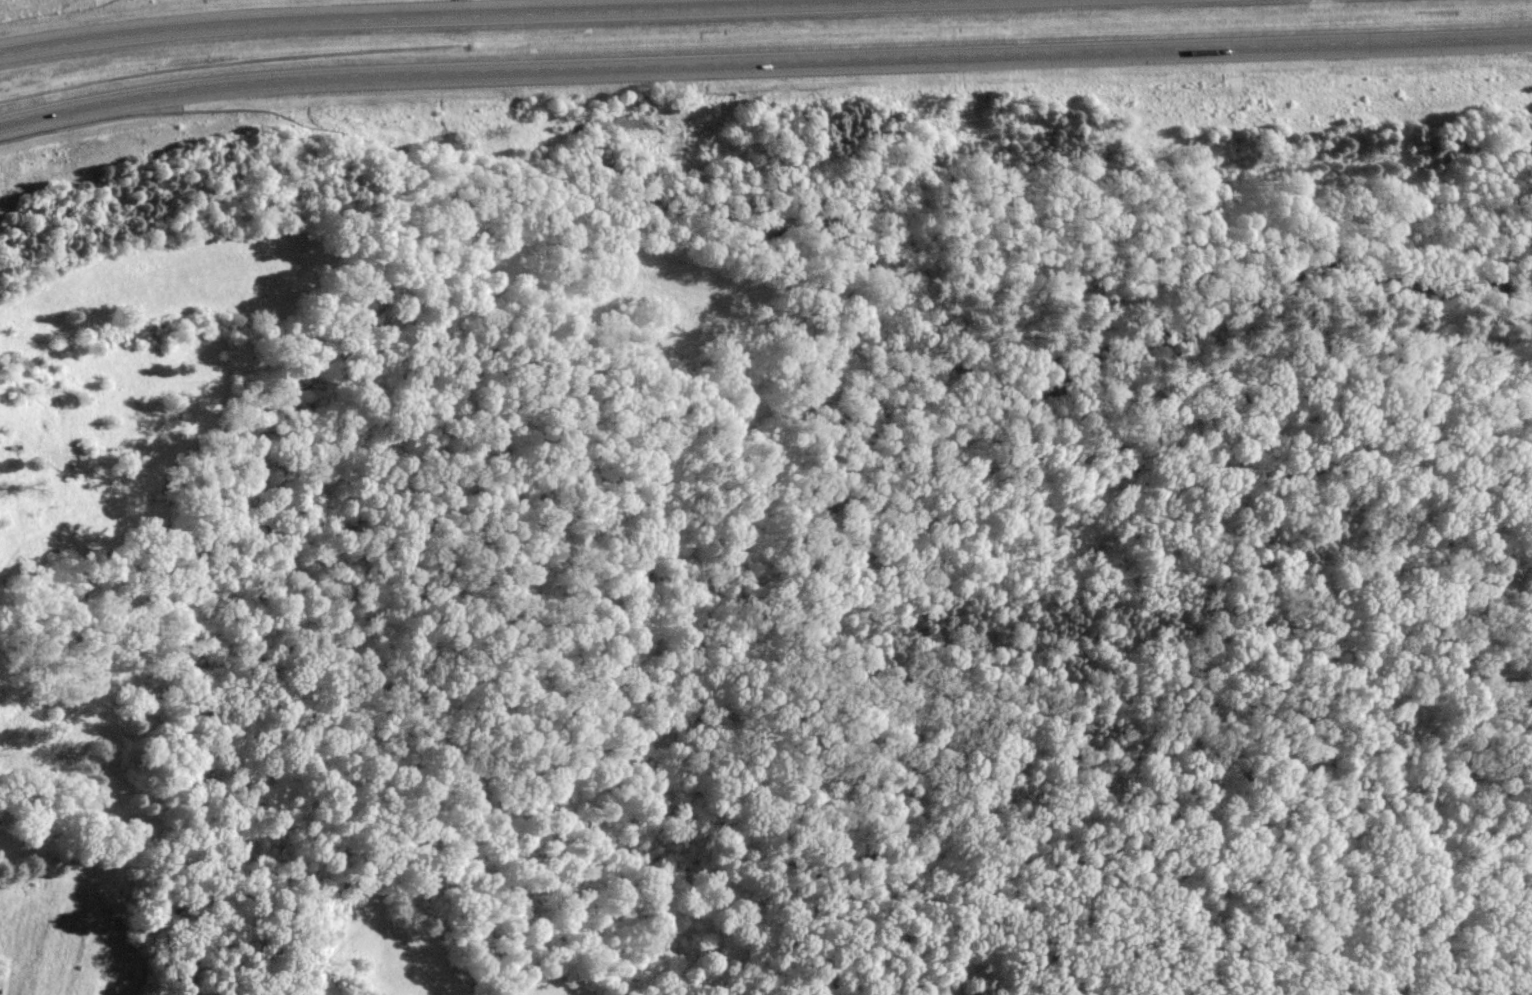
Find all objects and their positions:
road: (457, 12)
road: (764, 61)

